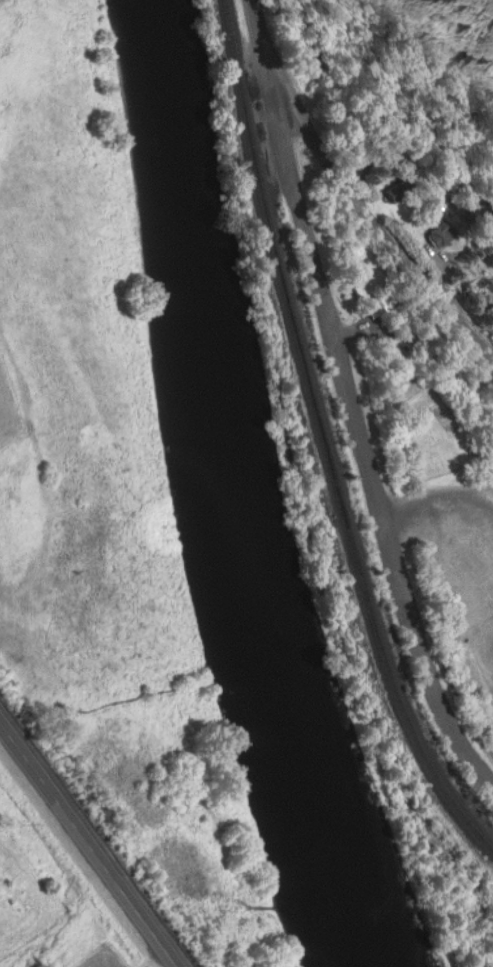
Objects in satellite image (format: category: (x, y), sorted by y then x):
road: (256, 34)
building: (397, 193)
road: (370, 220)
building: (440, 238)
road: (357, 332)
road: (426, 353)
building: (492, 430)
railway: (325, 439)
road: (357, 439)
river: (241, 487)
road: (436, 490)
road: (85, 849)

